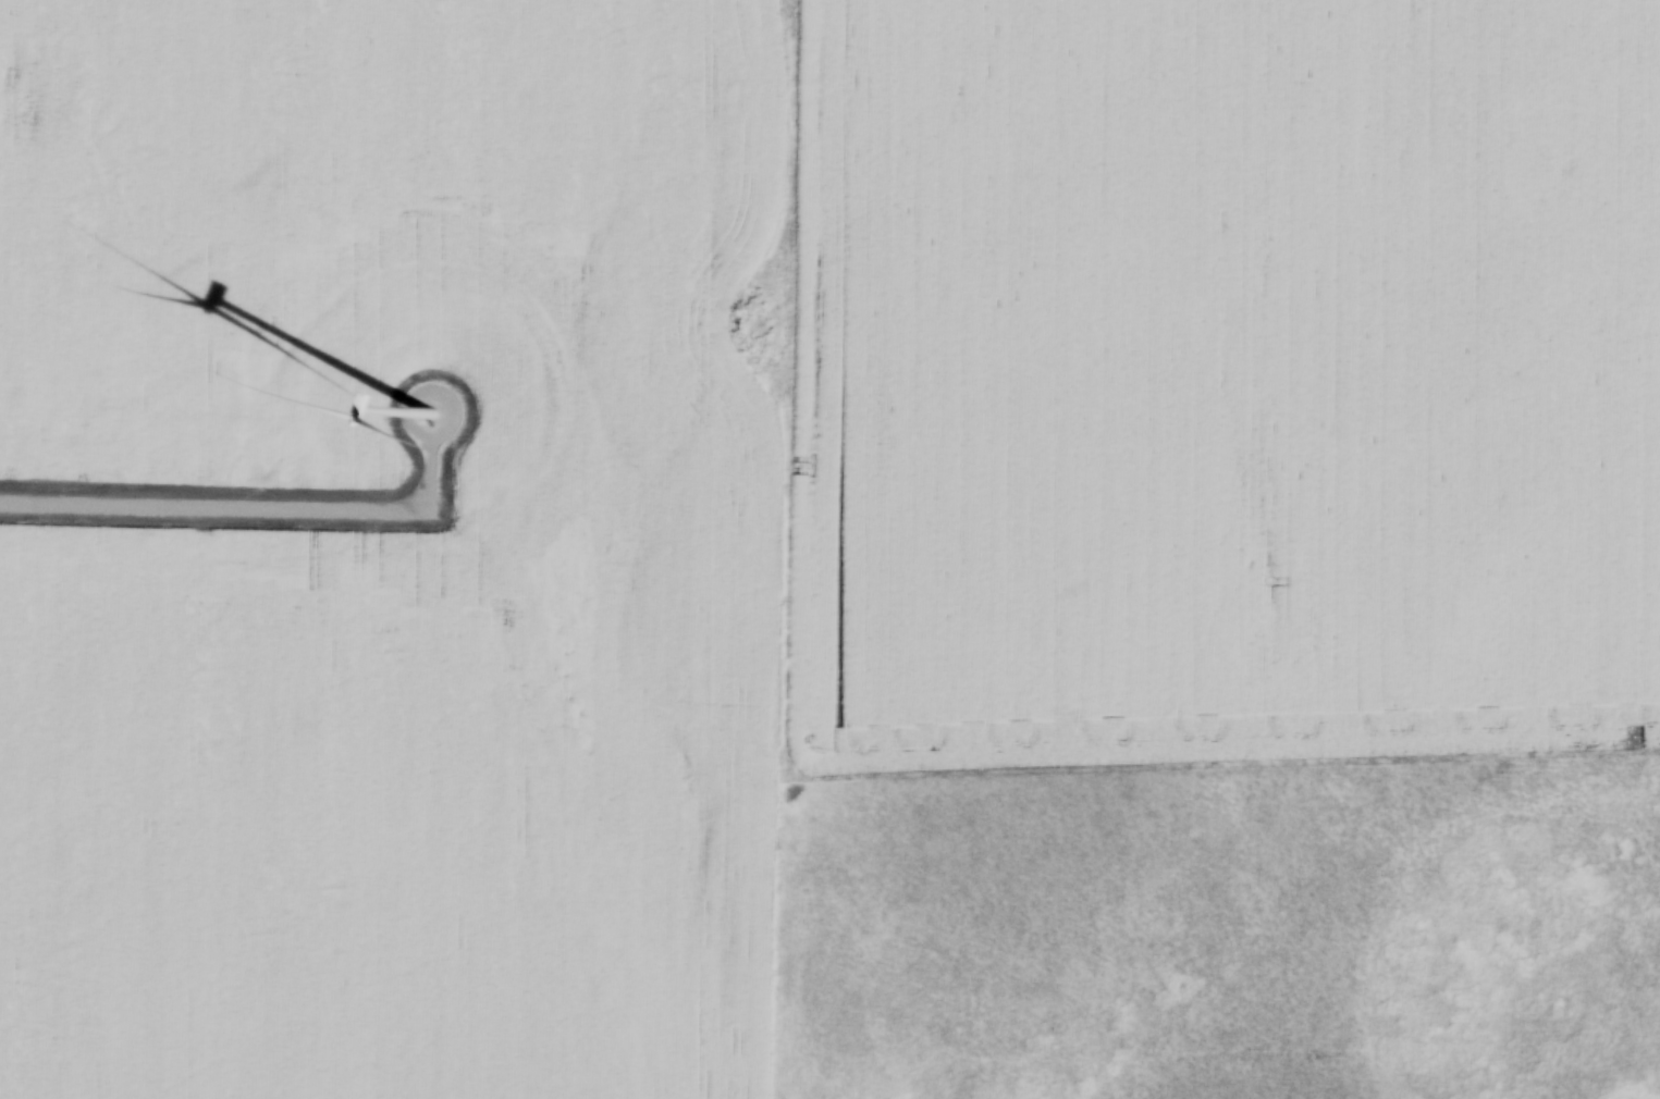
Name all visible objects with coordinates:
wind turbine: (429, 424)

